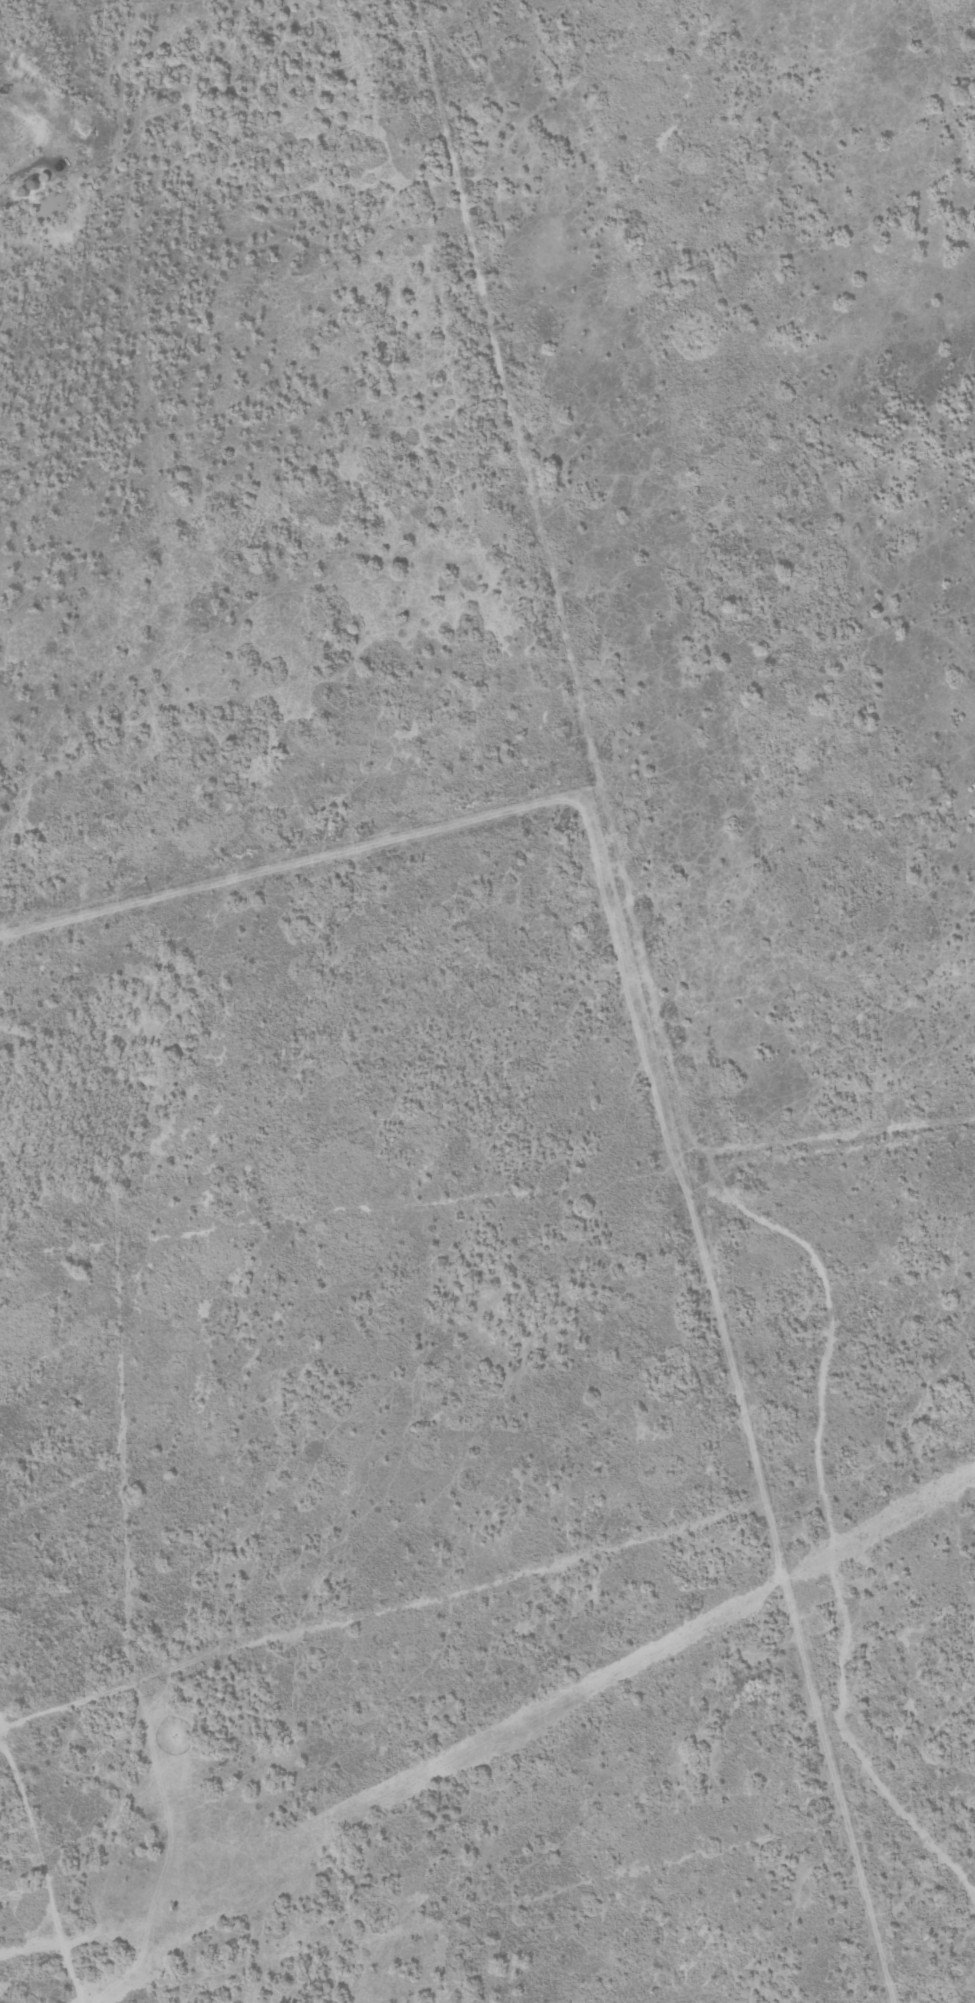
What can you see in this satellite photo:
road: (734, 343)
road: (78, 1434)

